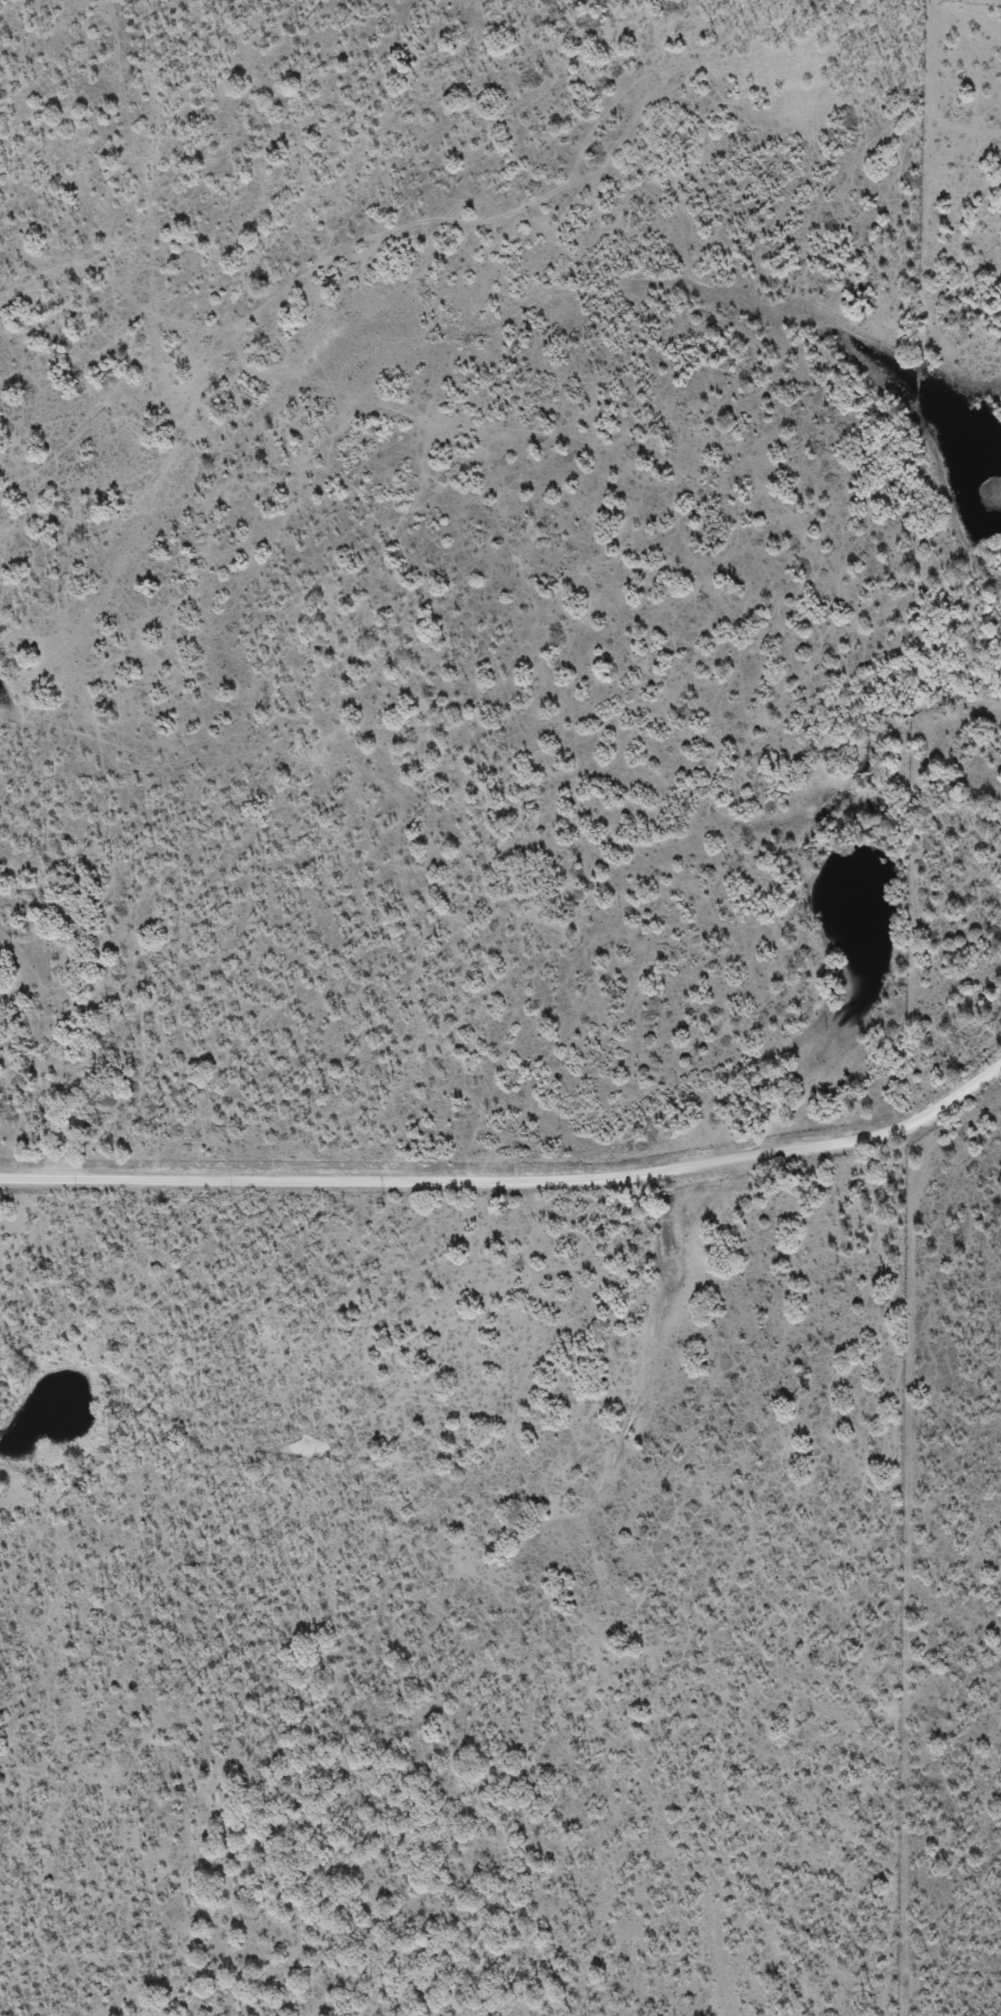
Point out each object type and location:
park: (62, 1127)
road: (511, 1179)

